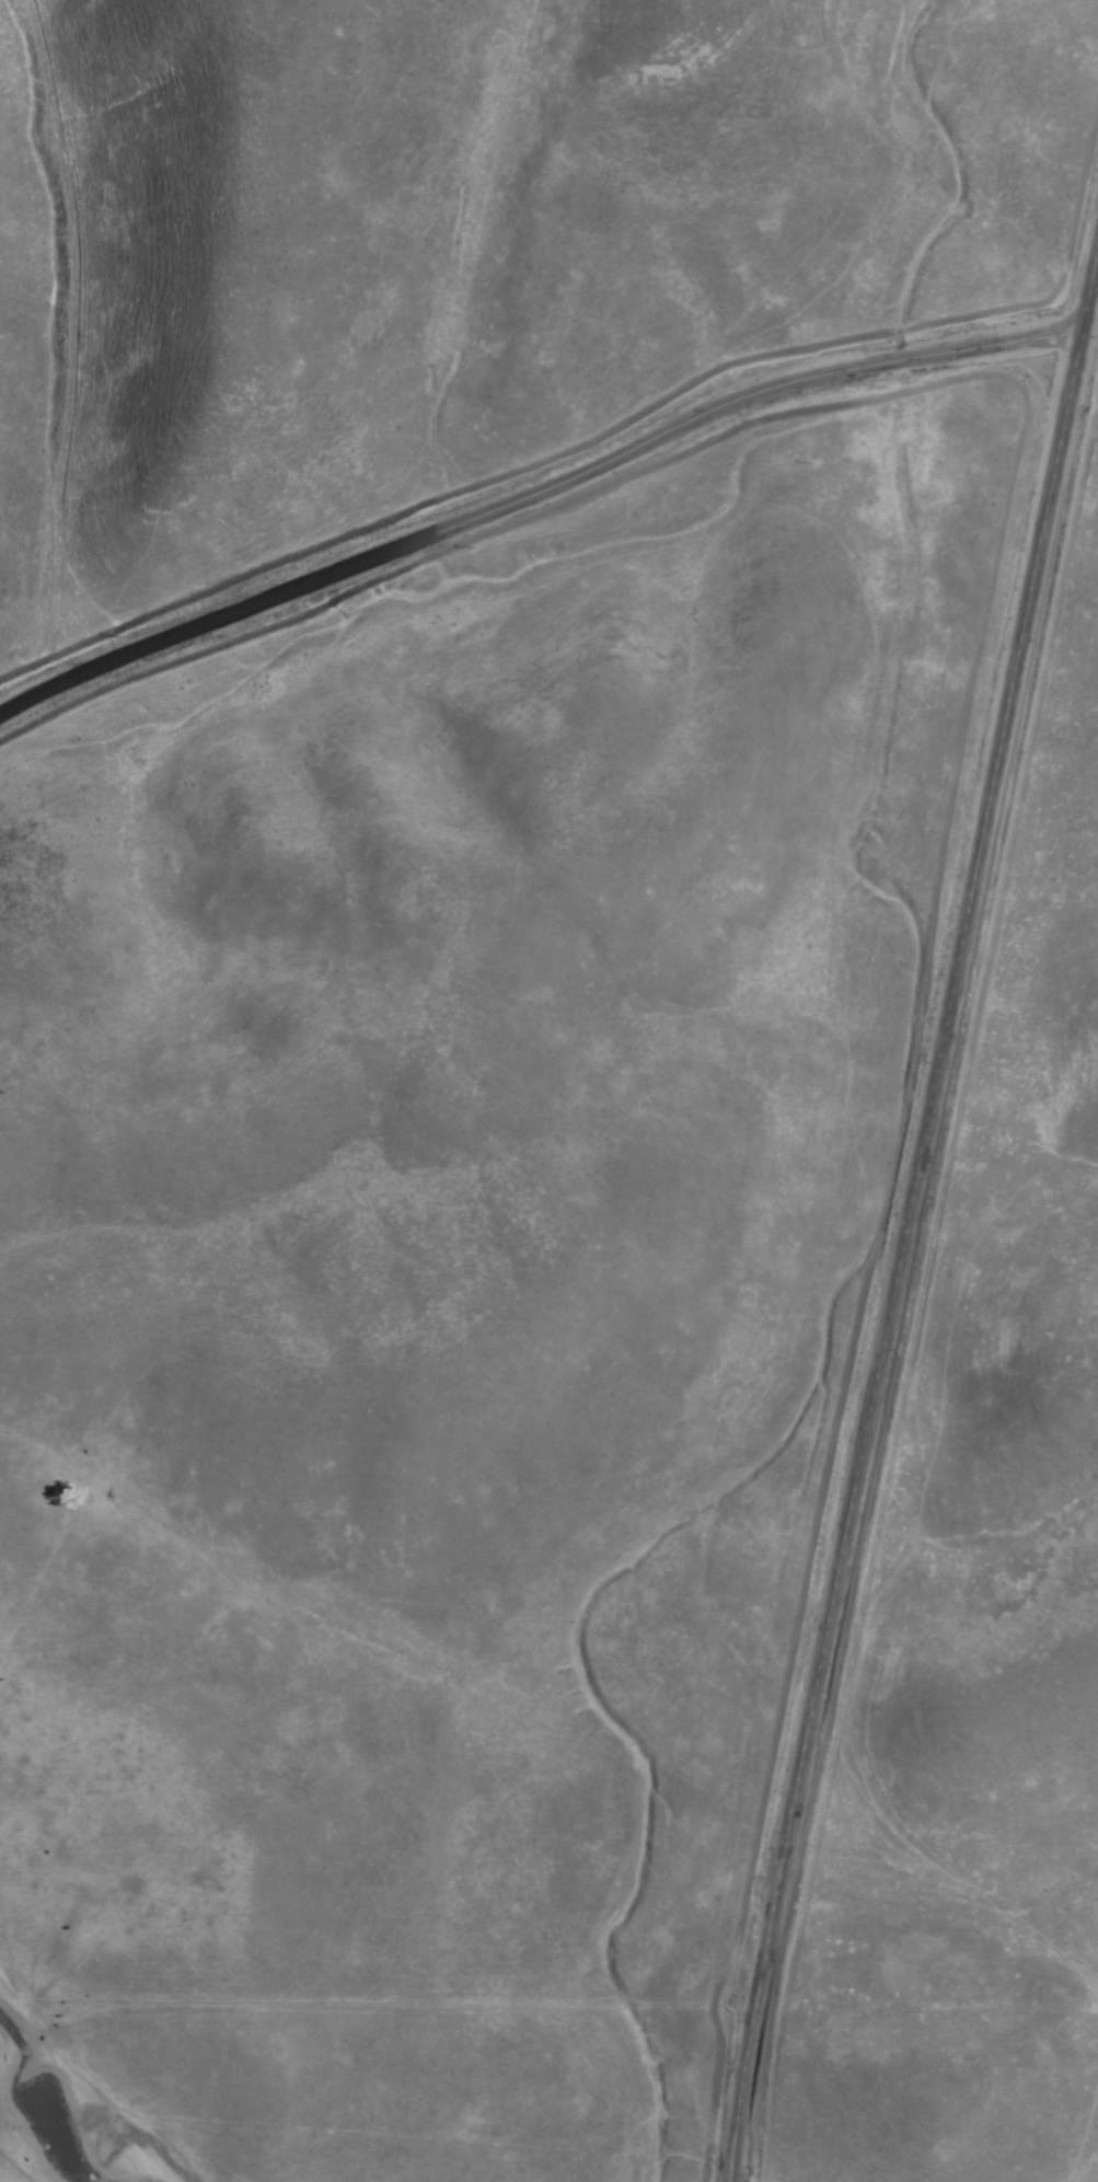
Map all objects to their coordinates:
road: (1086, 291)
road: (530, 497)
road: (899, 1265)
road: (69, 2074)

